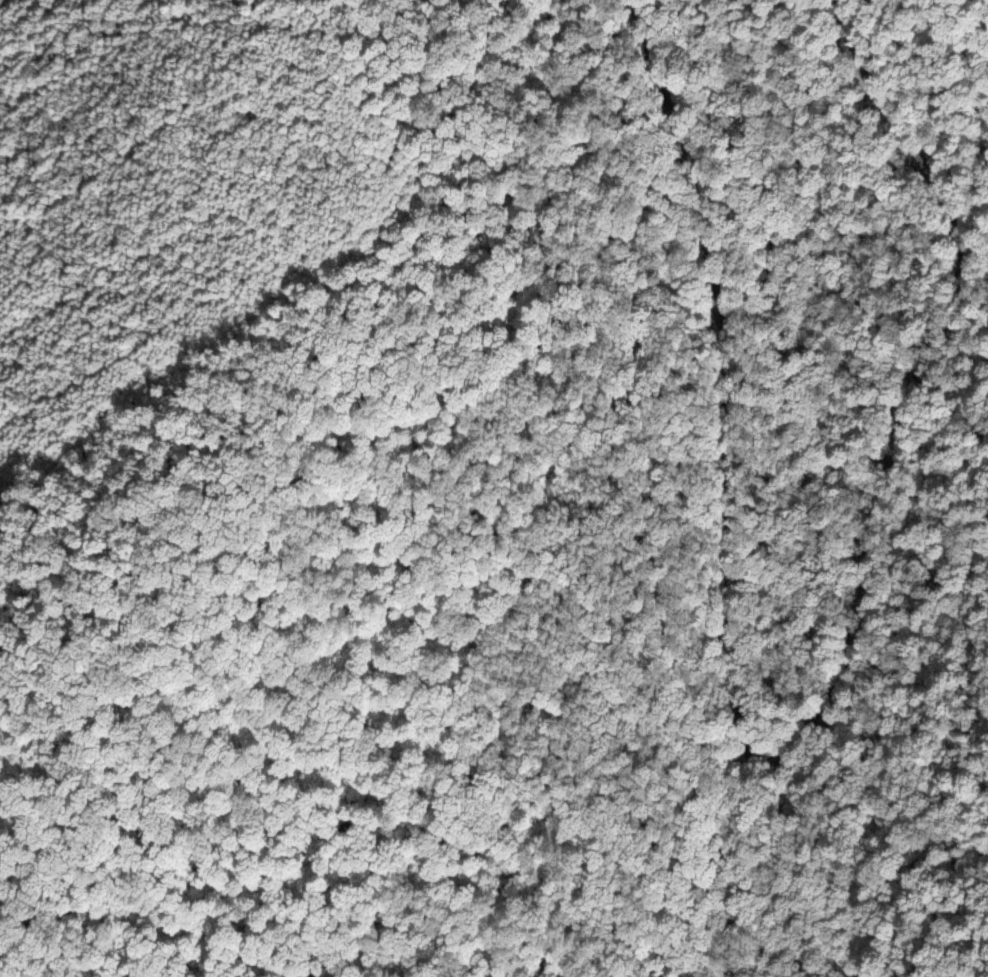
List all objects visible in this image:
road: (796, 724)

